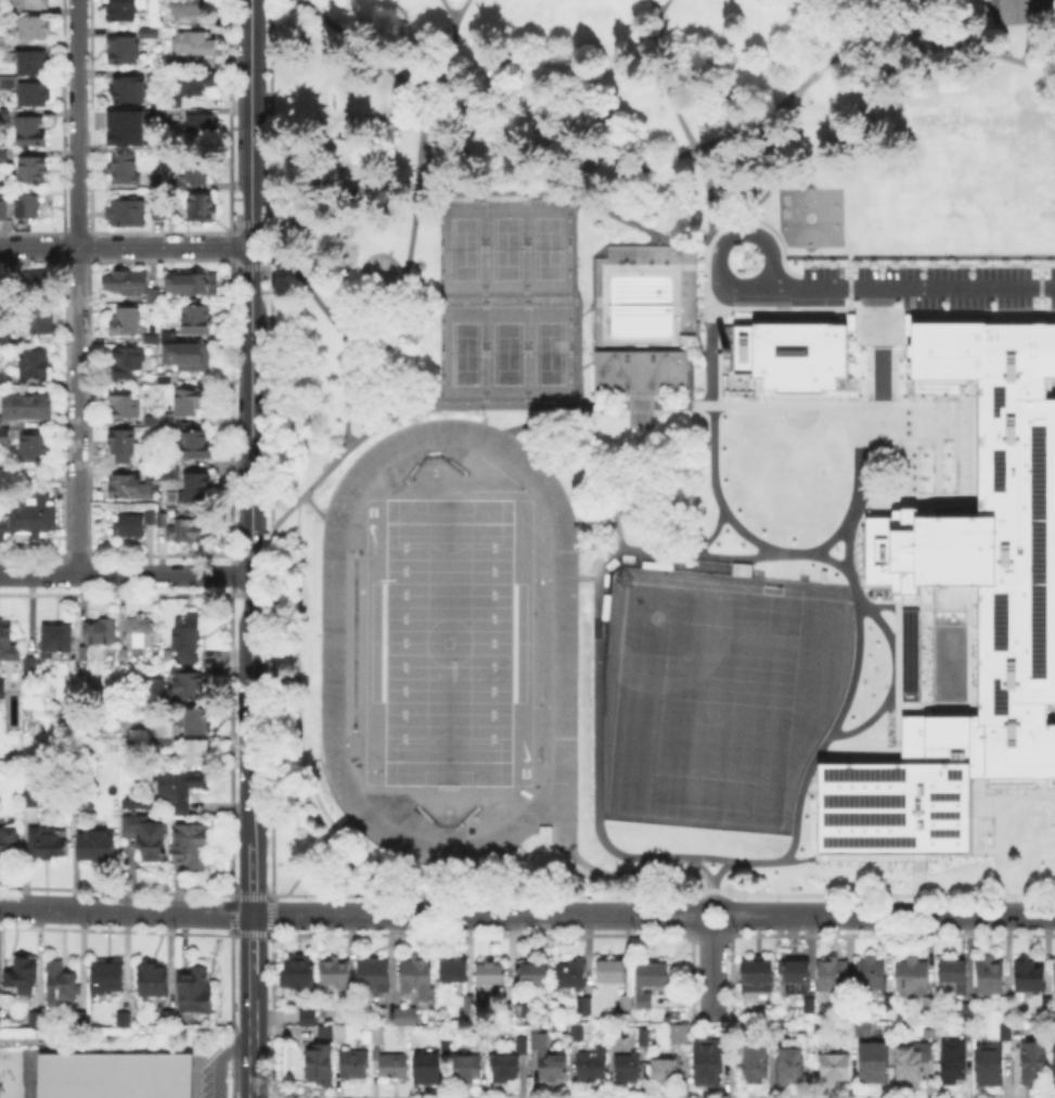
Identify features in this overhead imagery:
building: (33, 5)
road: (458, 7)
road: (664, 8)
road: (879, 8)
building: (194, 9)
building: (1017, 11)
building: (3, 12)
building: (124, 12)
building: (38, 28)
building: (150, 31)
road: (1024, 41)
building: (197, 44)
building: (3, 46)
building: (125, 52)
road: (453, 58)
building: (36, 64)
building: (155, 68)
road: (660, 75)
building: (9, 84)
building: (202, 85)
building: (124, 89)
building: (35, 95)
building: (173, 102)
building: (172, 112)
building: (5, 114)
building: (202, 131)
building: (30, 133)
building: (126, 136)
road: (671, 153)
building: (4, 156)
park: (981, 162)
road: (780, 164)
building: (126, 169)
building: (200, 170)
building: (34, 174)
road: (567, 190)
road: (711, 190)
building: (27, 205)
building: (157, 208)
building: (202, 208)
building: (4, 210)
building: (128, 214)
park: (809, 218)
road: (747, 233)
road: (126, 245)
park: (465, 246)
park: (506, 247)
park: (548, 247)
road: (918, 254)
fountain: (348, 255)
road: (265, 266)
parking lot: (927, 269)
building: (39, 277)
building: (127, 280)
road: (400, 283)
building: (190, 284)
road: (78, 286)
road: (908, 290)
road: (705, 292)
building: (154, 295)
road: (576, 296)
parking lot: (977, 301)
road: (921, 310)
building: (43, 321)
building: (197, 321)
building: (127, 323)
road: (709, 330)
building: (168, 334)
road: (346, 336)
building: (4, 339)
building: (151, 339)
park: (548, 352)
park: (464, 353)
park: (506, 353)
building: (788, 354)
road: (717, 355)
building: (190, 357)
building: (128, 363)
building: (35, 365)
building: (638, 370)
building: (4, 379)
building: (126, 401)
building: (191, 401)
road: (644, 403)
road: (844, 404)
building: (29, 407)
park: (571, 410)
road: (390, 413)
road: (252, 420)
road: (542, 420)
building: (154, 422)
building: (4, 434)
building: (196, 445)
building: (124, 446)
building: (36, 448)
building: (153, 472)
building: (200, 487)
building: (131, 488)
road: (715, 491)
road: (314, 506)
building: (151, 516)
building: (30, 519)
building: (163, 519)
building: (189, 524)
building: (132, 526)
road: (711, 533)
road: (262, 552)
road: (126, 575)
road: (593, 577)
building: (1016, 587)
building: (103, 631)
building: (141, 633)
track: (331, 633)
building: (189, 637)
road: (595, 638)
building: (59, 639)
building: (7, 640)
park: (448, 641)
road: (860, 654)
building: (909, 654)
building: (31, 665)
building: (0, 685)
building: (195, 688)
park: (717, 693)
park: (725, 701)
building: (197, 722)
building: (160, 733)
building: (198, 754)
building: (183, 789)
road: (1019, 796)
building: (33, 799)
building: (138, 803)
building: (79, 807)
building: (33, 815)
building: (150, 839)
road: (999, 842)
building: (10, 843)
building: (49, 843)
building: (192, 845)
building: (99, 846)
road: (689, 858)
road: (308, 867)
road: (719, 869)
road: (599, 870)
road: (253, 878)
road: (261, 896)
road: (271, 906)
road: (126, 910)
traffic signals: (253, 915)
road: (474, 916)
road: (892, 916)
road: (699, 924)
road: (253, 943)
building: (455, 969)
building: (613, 972)
road: (712, 972)
building: (296, 973)
building: (417, 973)
building: (799, 973)
building: (17, 974)
building: (104, 974)
building: (335, 974)
building: (374, 974)
building: (537, 974)
building: (574, 974)
building: (758, 974)
building: (955, 974)
building: (1054, 974)
building: (492, 975)
building: (655, 975)
building: (992, 975)
building: (149, 976)
building: (835, 976)
building: (872, 976)
building: (1032, 978)
building: (913, 979)
building: (57, 981)
road: (253, 986)
building: (191, 988)
building: (642, 998)
building: (888, 1001)
building: (1044, 1001)
building: (586, 1003)
building: (469, 1004)
building: (622, 1004)
building: (1005, 1004)
building: (809, 1005)
building: (931, 1006)
building: (401, 1009)
building: (964, 1010)
building: (524, 1011)
building: (382, 1012)
building: (306, 1014)
building: (33, 1016)
building: (120, 1017)
building: (167, 1018)
building: (81, 1019)
building: (857, 1029)
building: (1003, 1029)
building: (323, 1030)
building: (338, 1030)
building: (583, 1030)
building: (678, 1032)
building: (1019, 1032)
building: (375, 1033)
building: (969, 1034)
building: (642, 1035)
building: (519, 1043)
road: (253, 1049)
building: (544, 1055)
road: (218, 1058)
building: (754, 1059)
building: (351, 1061)
building: (871, 1061)
building: (953, 1061)
building: (317, 1062)
building: (706, 1062)
building: (1053, 1062)
building: (390, 1063)
building: (465, 1063)
building: (590, 1063)
building: (789, 1063)
building: (987, 1063)
building: (1034, 1063)
building: (832, 1064)
building: (503, 1065)
building: (906, 1065)
building: (424, 1067)
building: (627, 1067)
building: (664, 1069)
parking lot: (217, 1074)
building: (114, 1075)

